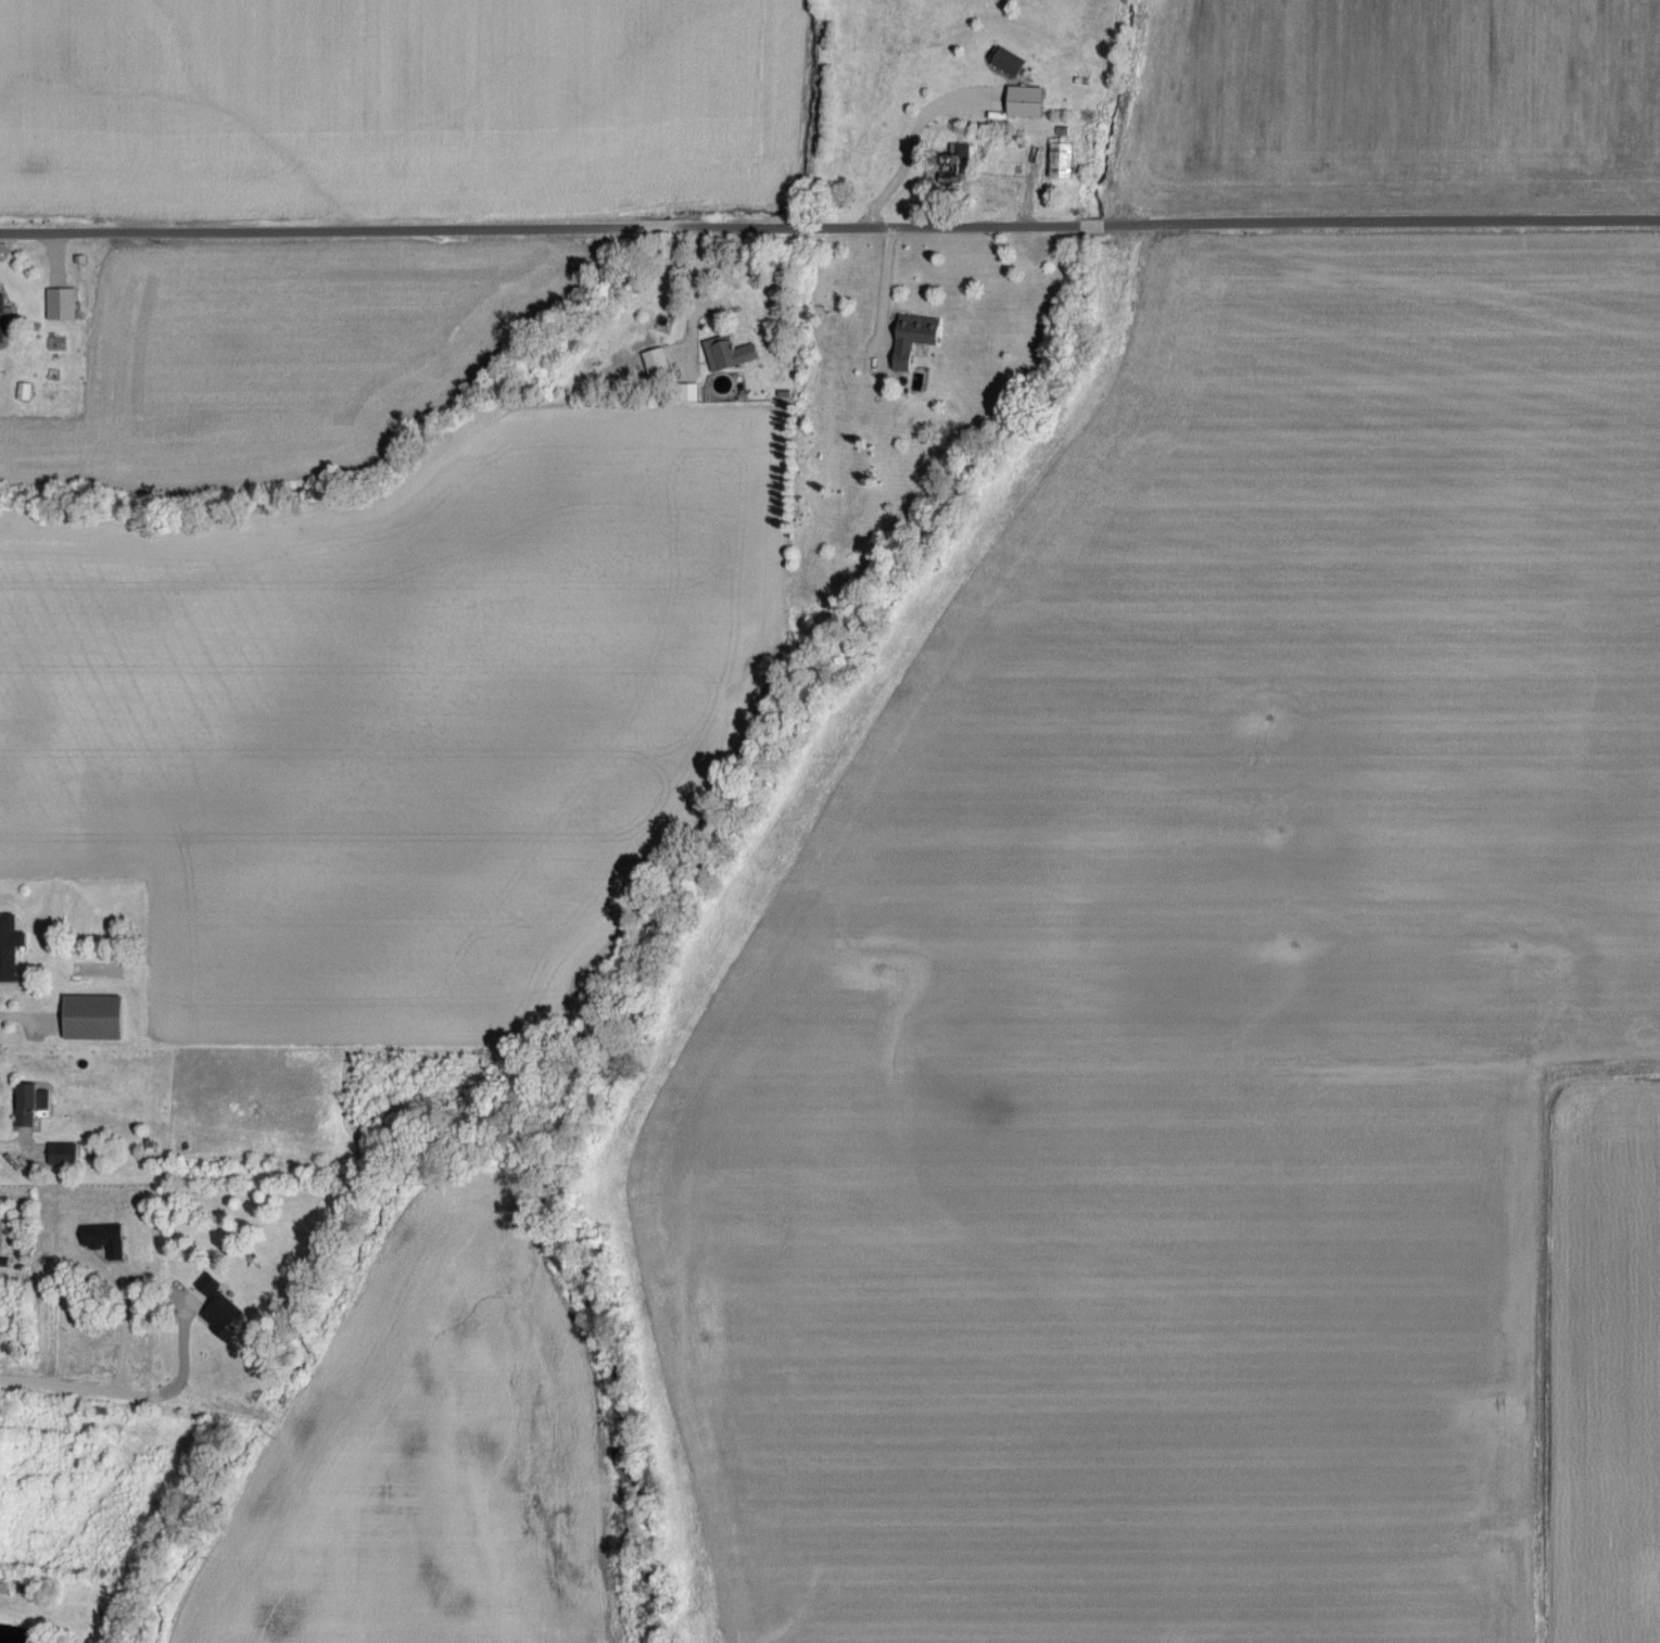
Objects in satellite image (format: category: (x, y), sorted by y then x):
building: (1022, 103)
road: (912, 147)
building: (953, 162)
building: (1059, 162)
road: (1026, 187)
road: (829, 226)
road: (689, 294)
building: (66, 305)
building: (5, 320)
building: (909, 340)
building: (719, 354)
building: (655, 365)
building: (687, 394)
building: (12, 949)
road: (24, 1018)
building: (100, 1020)
road: (22, 1143)
road: (1538, 1305)
road: (126, 1332)
road: (131, 1398)

